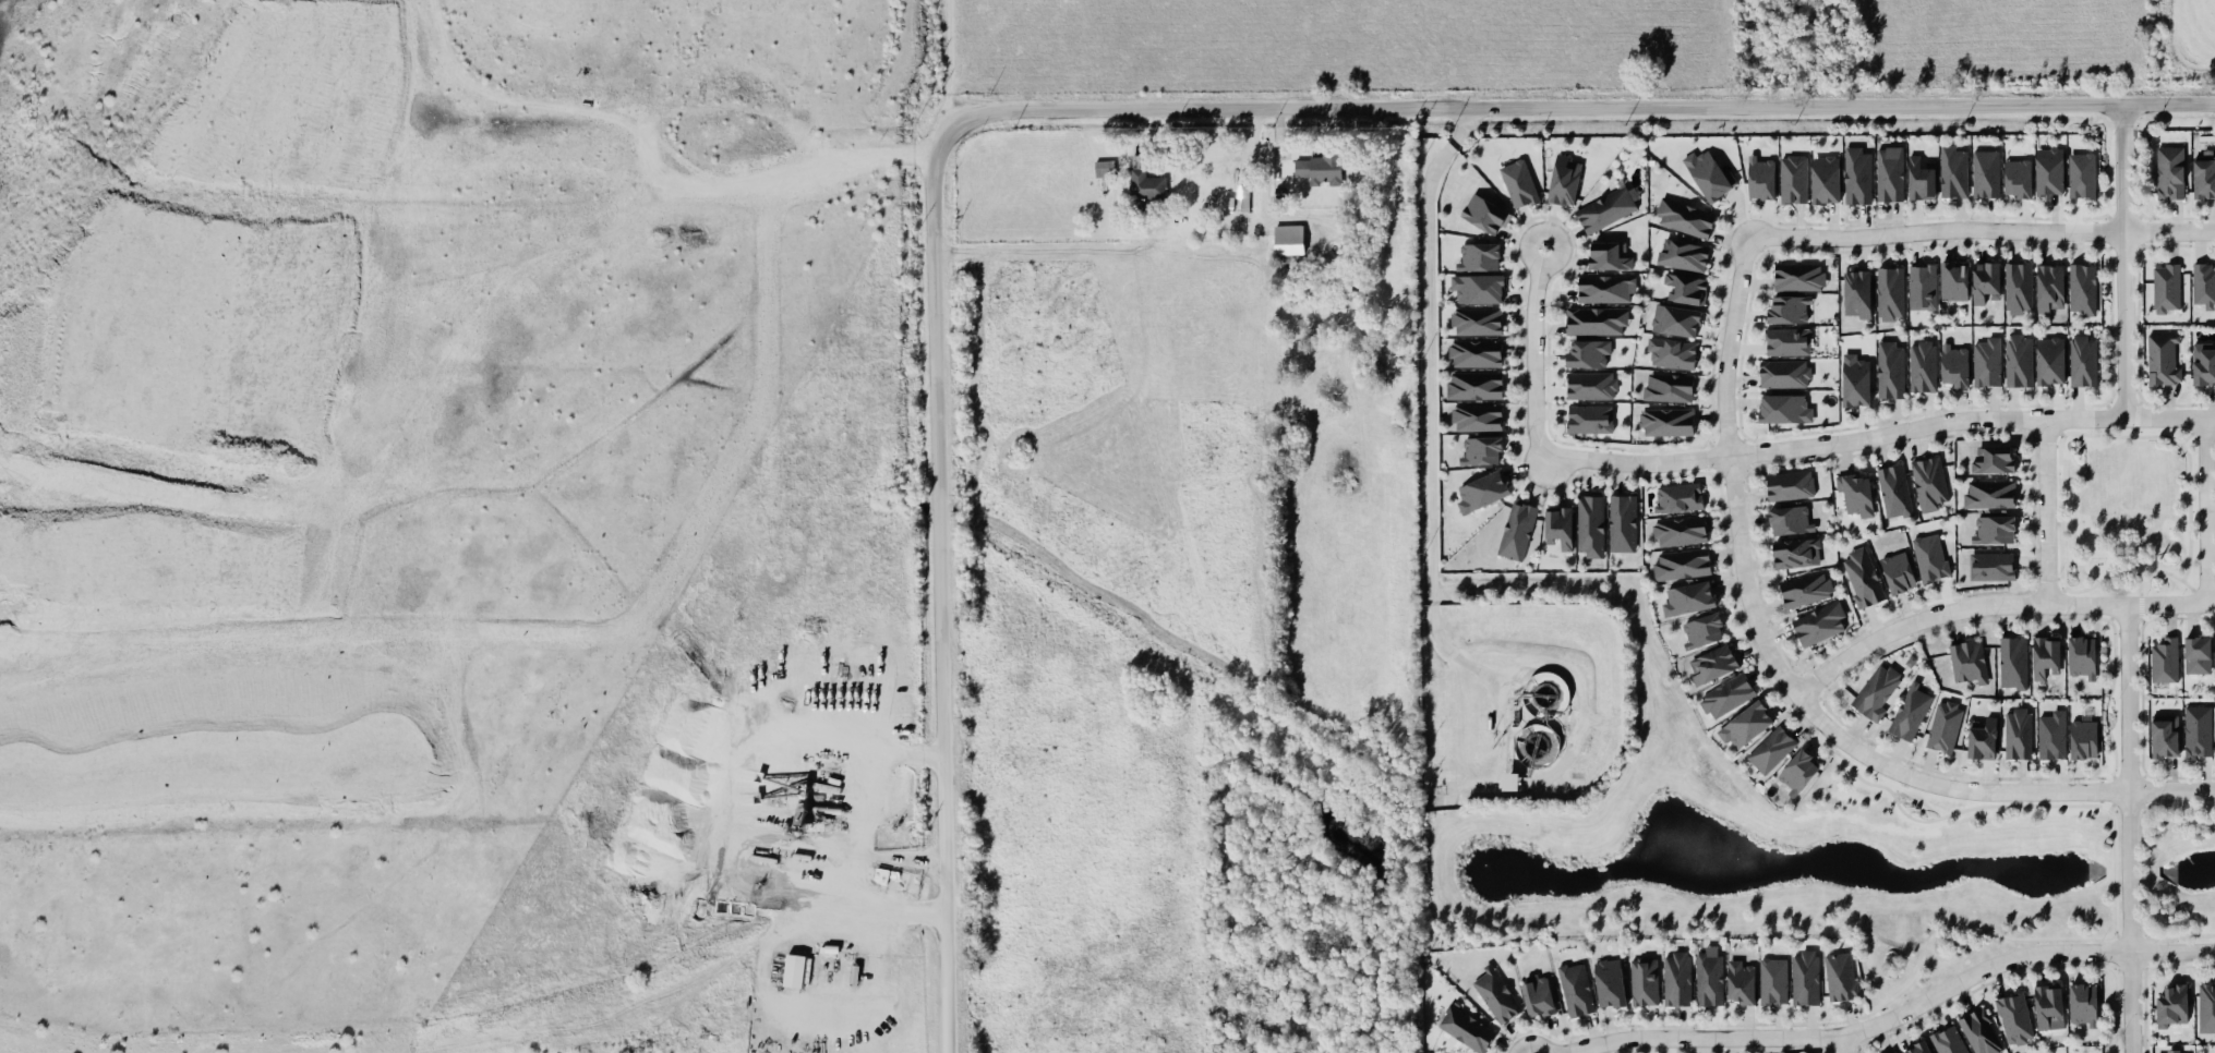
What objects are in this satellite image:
road: (949, 68)
road: (1577, 106)
road: (856, 162)
building: (1104, 167)
building: (1321, 167)
building: (1953, 170)
building: (2049, 171)
building: (2169, 171)
building: (1708, 172)
building: (1889, 172)
building: (1986, 173)
building: (1857, 174)
building: (2082, 174)
building: (1760, 175)
building: (1921, 177)
building: (2203, 177)
building: (2017, 178)
building: (1564, 179)
building: (1793, 179)
building: (1825, 179)
building: (1144, 180)
building: (1518, 182)
building: (1242, 197)
building: (1606, 208)
building: (1484, 214)
building: (1685, 217)
road: (1983, 230)
building: (1287, 247)
building: (1682, 254)
building: (1477, 255)
building: (1606, 255)
road: (2124, 261)
building: (1798, 276)
building: (1953, 279)
building: (1985, 281)
building: (2203, 285)
building: (1922, 286)
building: (2166, 286)
building: (1686, 287)
building: (2018, 287)
building: (2049, 287)
building: (1477, 288)
building: (1605, 288)
building: (2082, 288)
building: (1890, 292)
building: (1855, 293)
building: (1786, 308)
building: (1610, 319)
building: (1675, 319)
building: (1476, 320)
building: (1786, 341)
road: (1536, 350)
building: (1474, 352)
building: (1588, 352)
building: (1671, 352)
building: (2163, 358)
building: (2019, 359)
building: (2082, 359)
building: (2049, 360)
building: (1384, 361)
building: (1986, 361)
building: (2203, 363)
building: (1922, 364)
building: (1953, 364)
building: (1890, 367)
building: (1784, 373)
building: (1855, 379)
building: (1590, 384)
building: (1474, 385)
building: (1668, 387)
road: (1430, 403)
building: (1784, 408)
road: (414, 415)
building: (1476, 416)
building: (1589, 419)
building: (1665, 421)
road: (2055, 426)
road: (2135, 426)
road: (2191, 429)
road: (1877, 435)
road: (2059, 440)
building: (1481, 449)
building: (1994, 458)
building: (1928, 482)
building: (1789, 485)
building: (1893, 489)
building: (1481, 491)
building: (1854, 493)
building: (1988, 493)
building: (1676, 497)
road: (2047, 510)
road: (2205, 510)
building: (1790, 519)
building: (1622, 521)
building: (1558, 524)
building: (1590, 525)
building: (1516, 529)
building: (1993, 529)
building: (1678, 531)
building: (1795, 552)
building: (1929, 556)
building: (1681, 562)
building: (1990, 565)
building: (1898, 571)
building: (1862, 577)
road: (2140, 585)
building: (1806, 588)
road: (2194, 590)
road: (938, 593)
road: (2056, 594)
building: (1688, 597)
road: (2171, 603)
road: (1950, 610)
building: (1818, 622)
building: (1701, 629)
road: (559, 632)
road: (1767, 646)
building: (2196, 654)
building: (2045, 655)
building: (2081, 656)
building: (2164, 657)
building: (2012, 661)
building: (1967, 662)
road: (1557, 663)
building: (1711, 663)
building: (1876, 689)
building: (1726, 695)
building: (1910, 710)
building: (1945, 724)
building: (1745, 725)
building: (2196, 730)
building: (2017, 731)
building: (2051, 734)
building: (2164, 735)
building: (1982, 737)
building: (2082, 738)
building: (1771, 748)
building: (1797, 771)
building: (1510, 780)
road: (2171, 791)
road: (864, 801)
road: (2138, 802)
road: (2129, 828)
road: (2146, 871)
road: (2159, 919)
road: (2139, 941)
building: (836, 948)
road: (2172, 951)
building: (794, 970)
building: (1840, 975)
building: (1804, 977)
building: (1676, 978)
building: (1708, 978)
road: (760, 980)
building: (1773, 980)
building: (1609, 981)
building: (1644, 981)
building: (1741, 981)
building: (1576, 988)
building: (1495, 993)
building: (1537, 993)
building: (2047, 1003)
building: (2082, 1004)
building: (2172, 1005)
building: (2206, 1007)
building: (2013, 1018)
building: (1466, 1027)
building: (1979, 1031)
road: (1851, 1032)
building: (1948, 1040)
road: (1843, 1044)
building: (1917, 1048)
building: (2172, 1051)
building: (1894, 1052)

